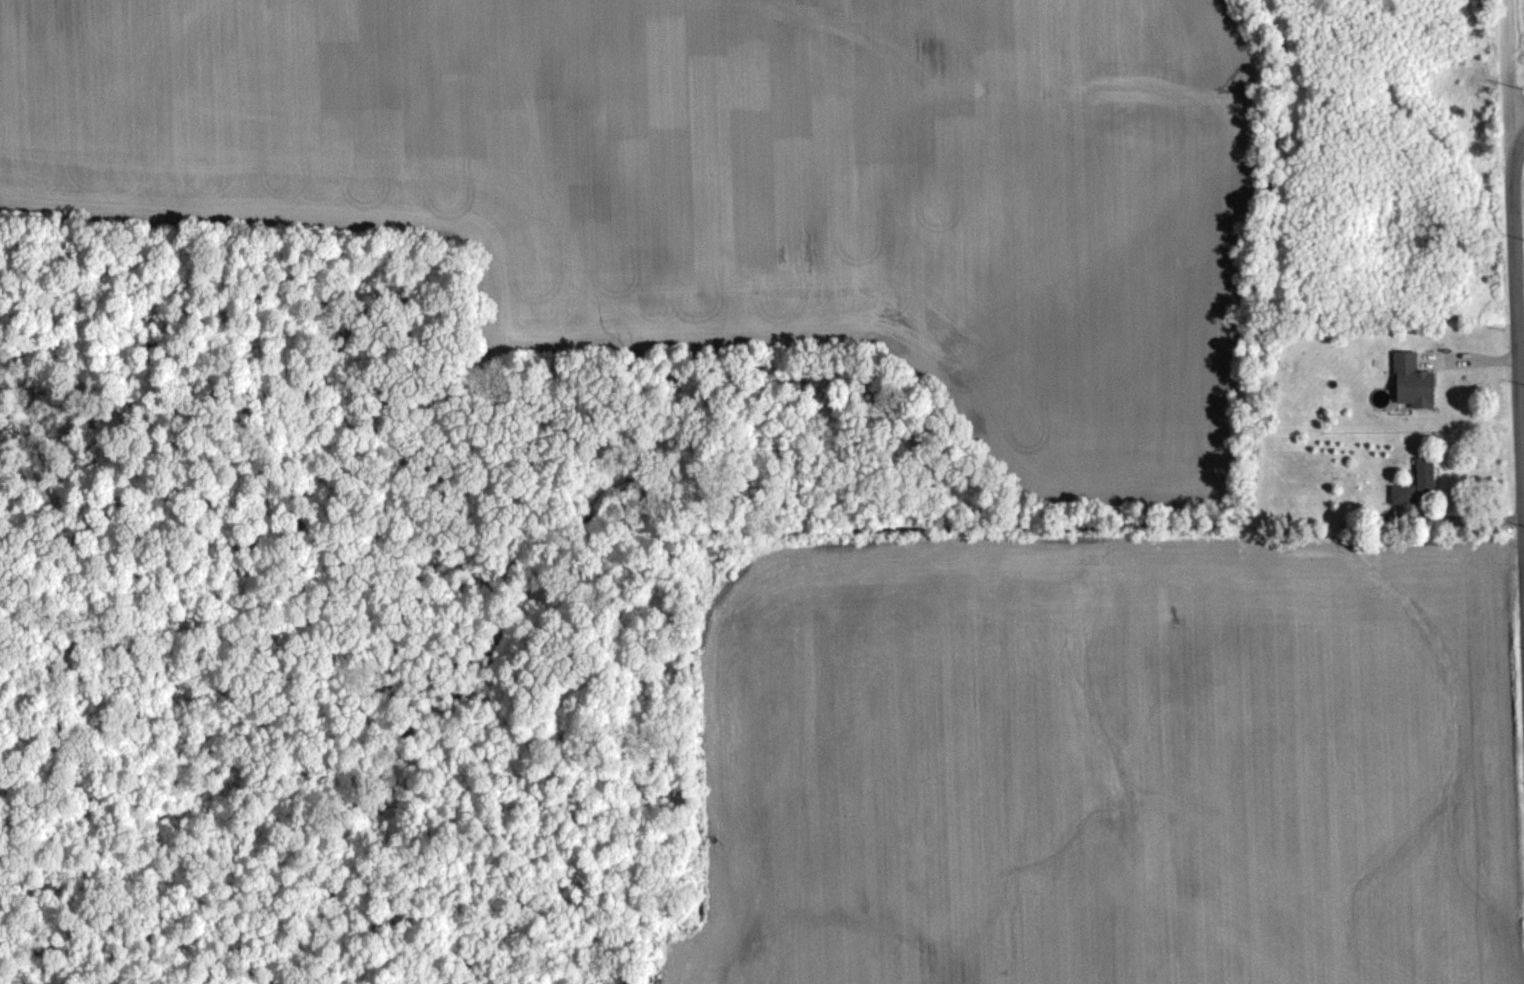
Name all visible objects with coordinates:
road: (1518, 111)
road: (1514, 248)
building: (1412, 382)
building: (1417, 485)

